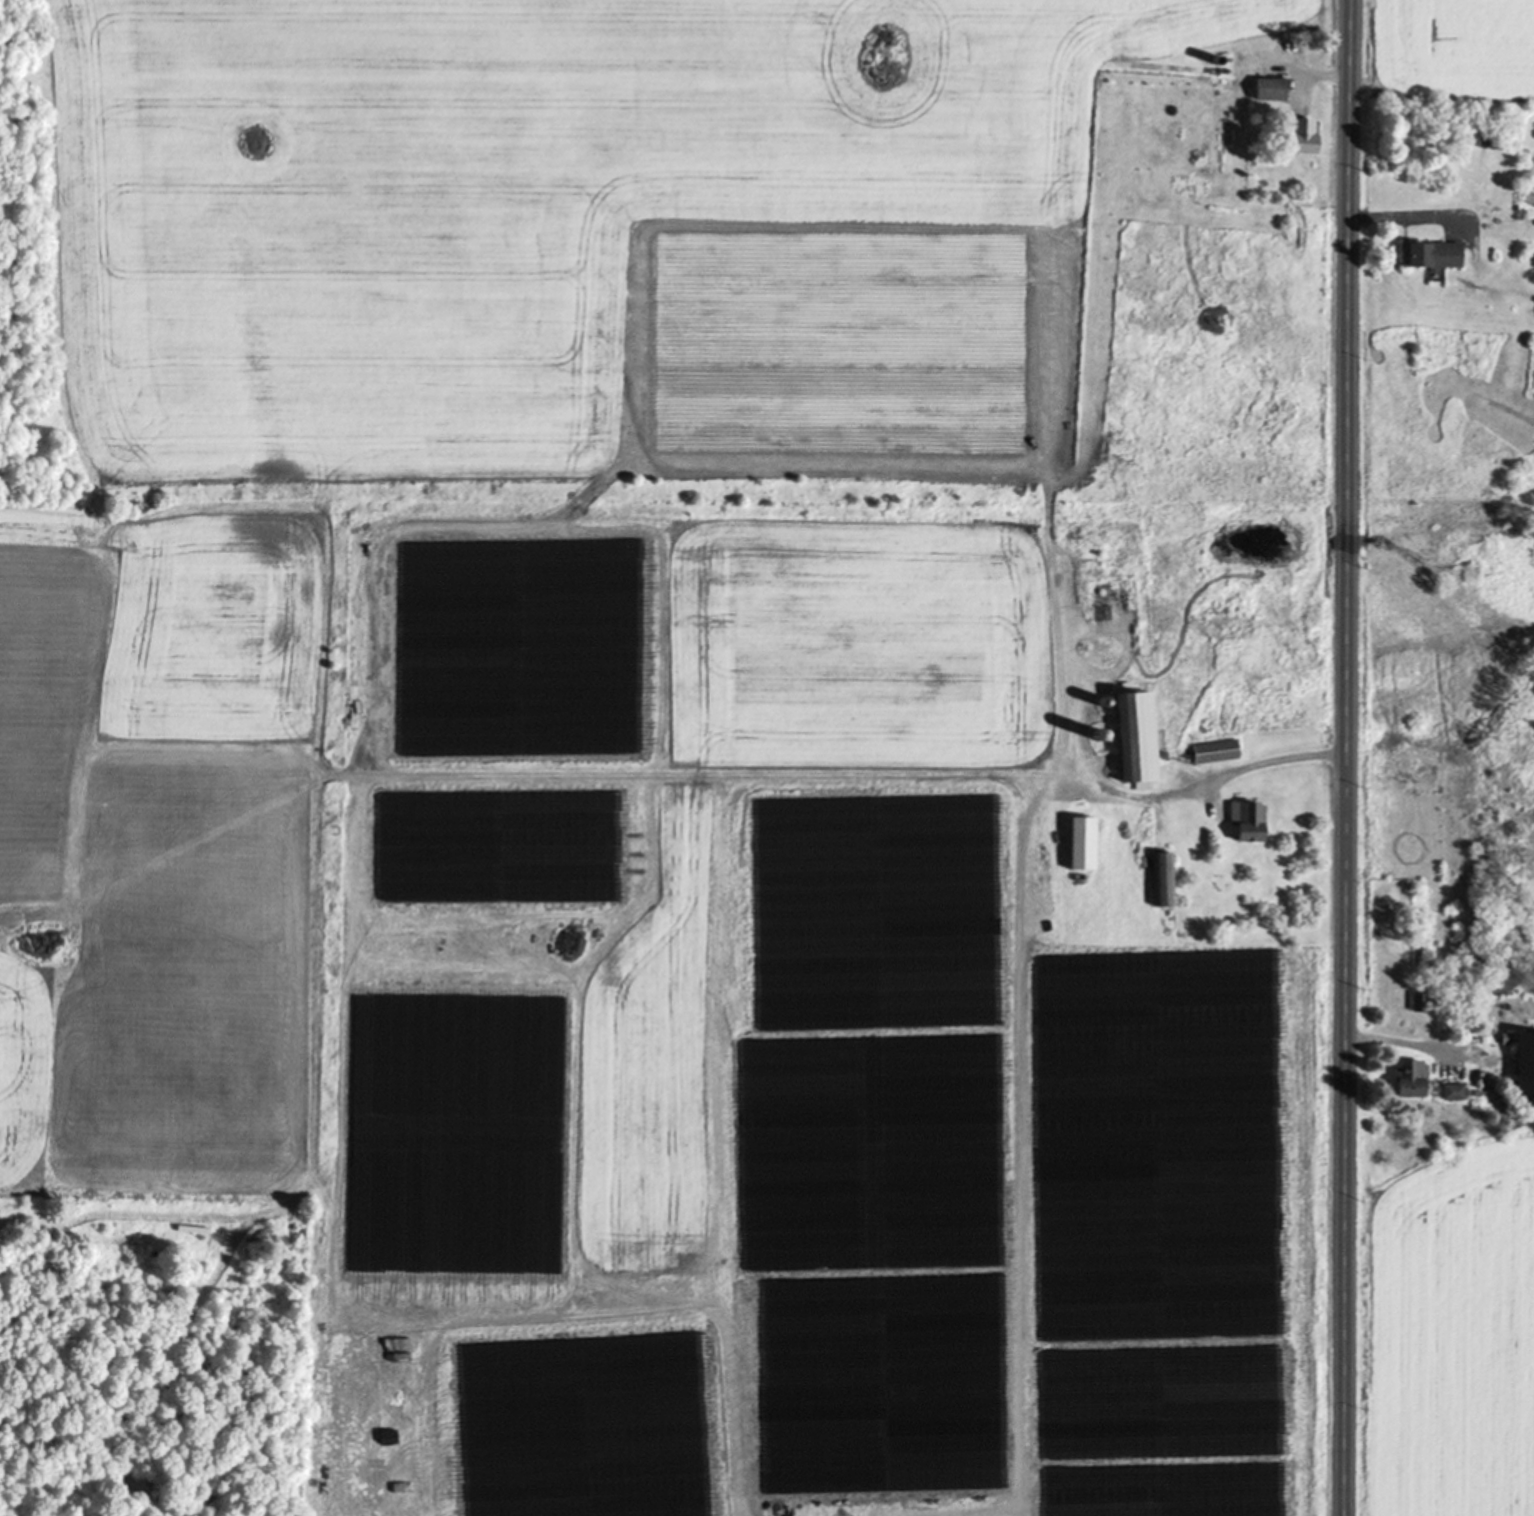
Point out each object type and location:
building: (1268, 92)
building: (1299, 138)
building: (1429, 257)
building: (1133, 739)
building: (1213, 753)
road: (1348, 757)
building: (1245, 825)
building: (1161, 883)
building: (1522, 1067)
building: (1409, 1083)

